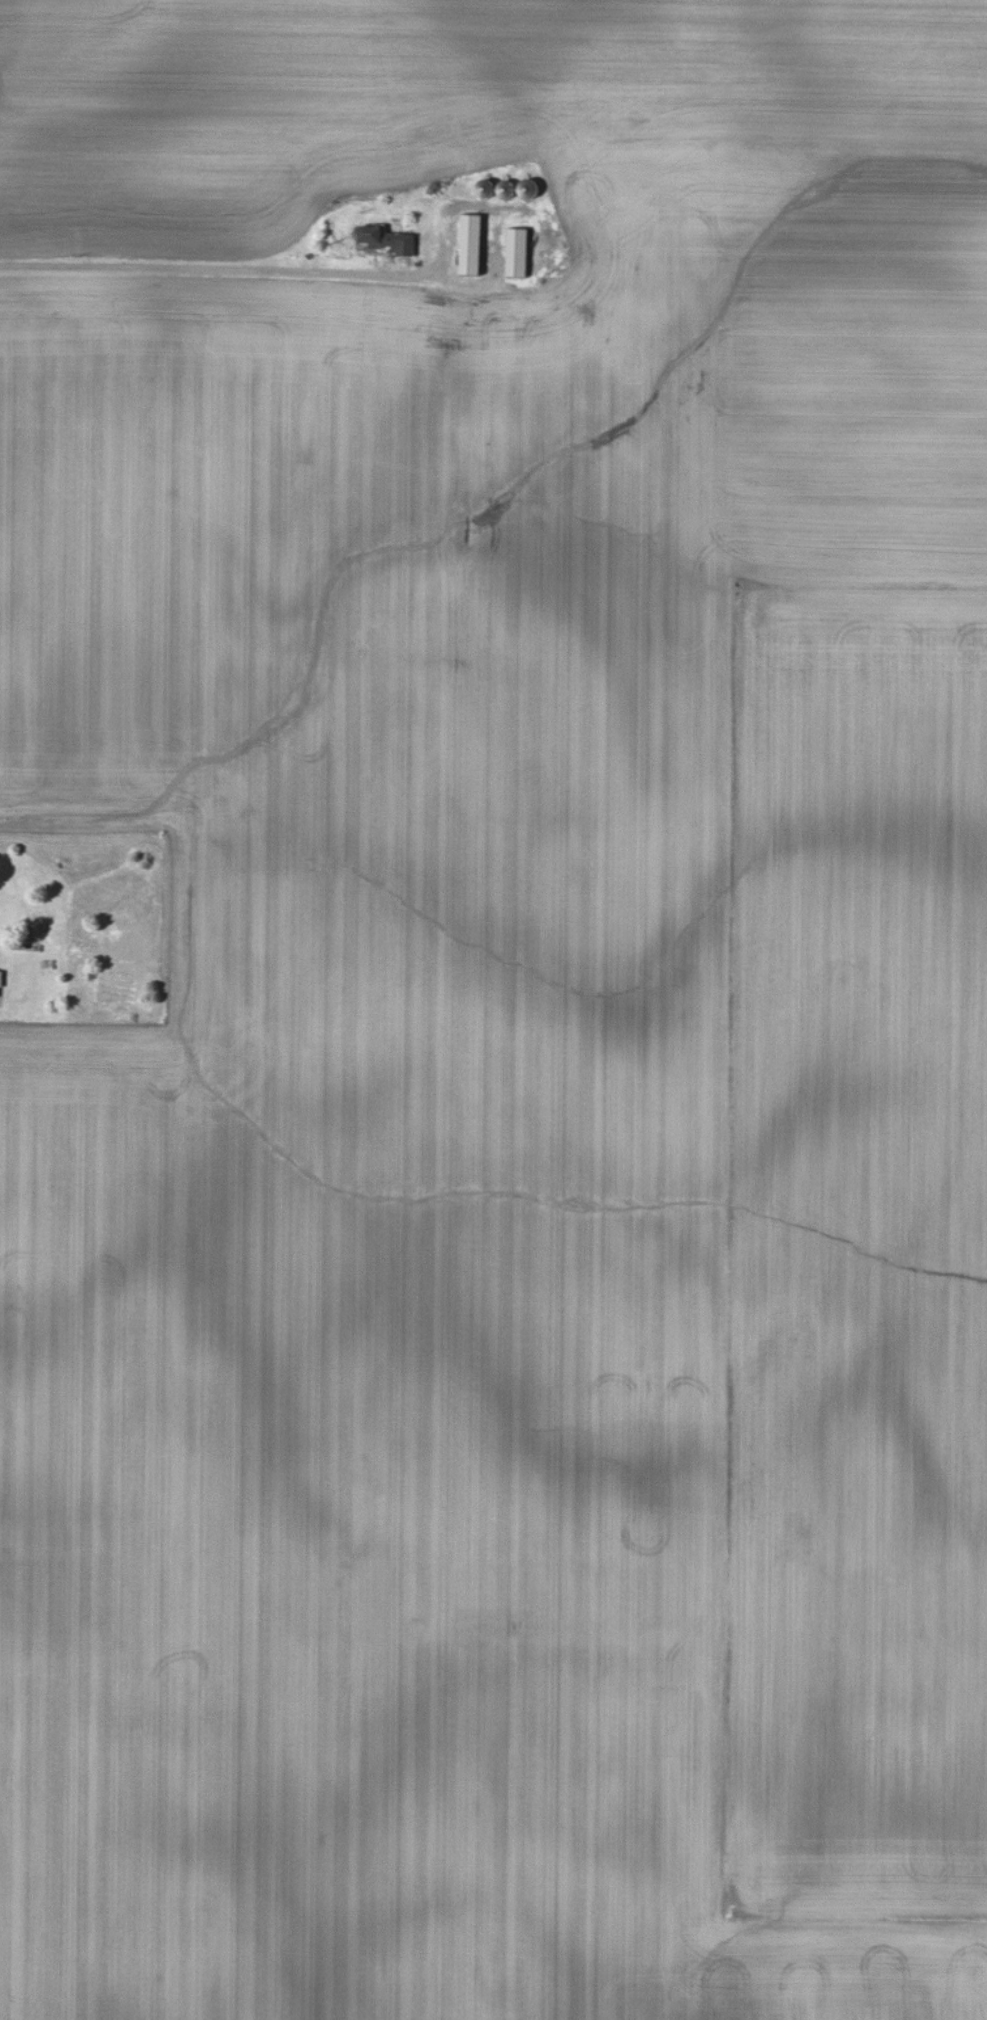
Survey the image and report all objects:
road: (227, 271)
road: (311, 1282)

